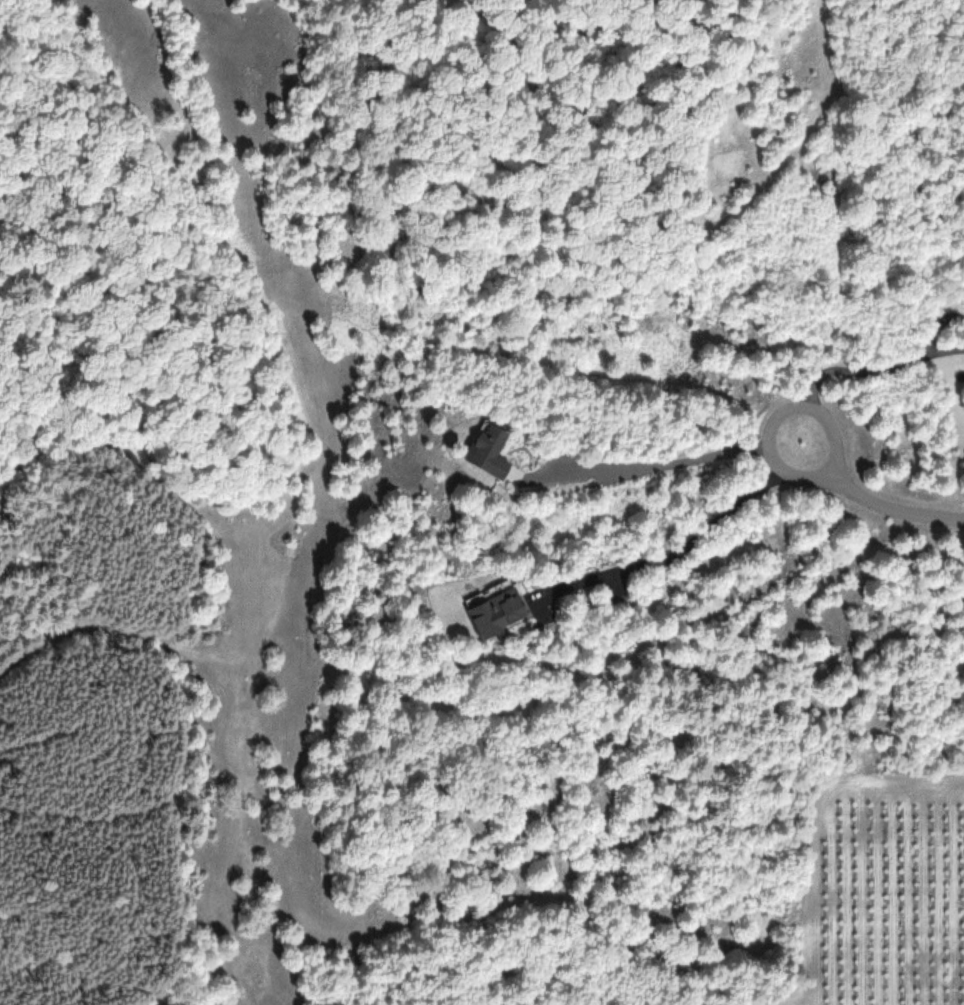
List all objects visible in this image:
road: (778, 418)
building: (489, 452)
road: (899, 512)
building: (498, 608)

